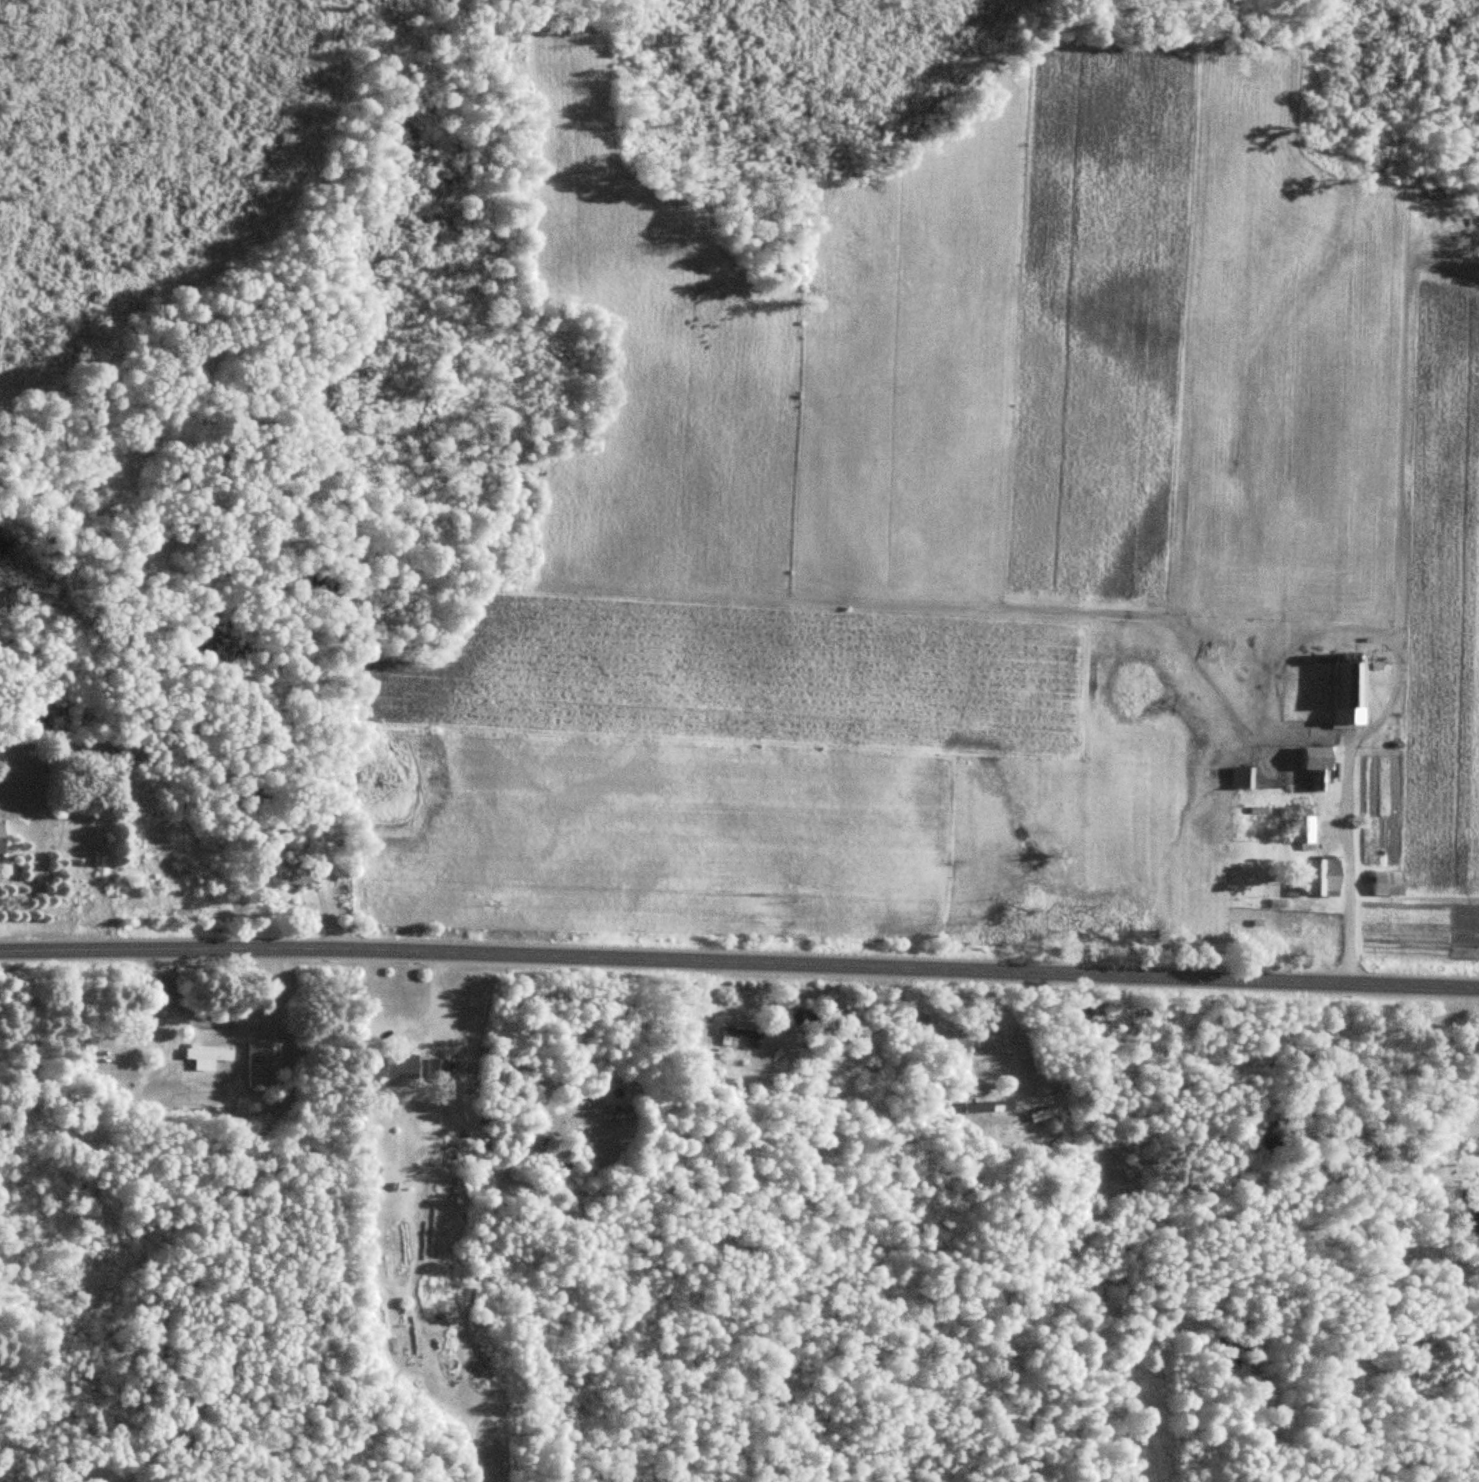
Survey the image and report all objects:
building: (1353, 693)
building: (1320, 758)
building: (1245, 778)
building: (1305, 830)
building: (2, 841)
building: (294, 874)
building: (1392, 883)
building: (1326, 884)
road: (739, 936)
building: (739, 1036)
building: (206, 1056)
building: (262, 1063)
building: (403, 1066)
building: (437, 1068)
building: (489, 1141)

